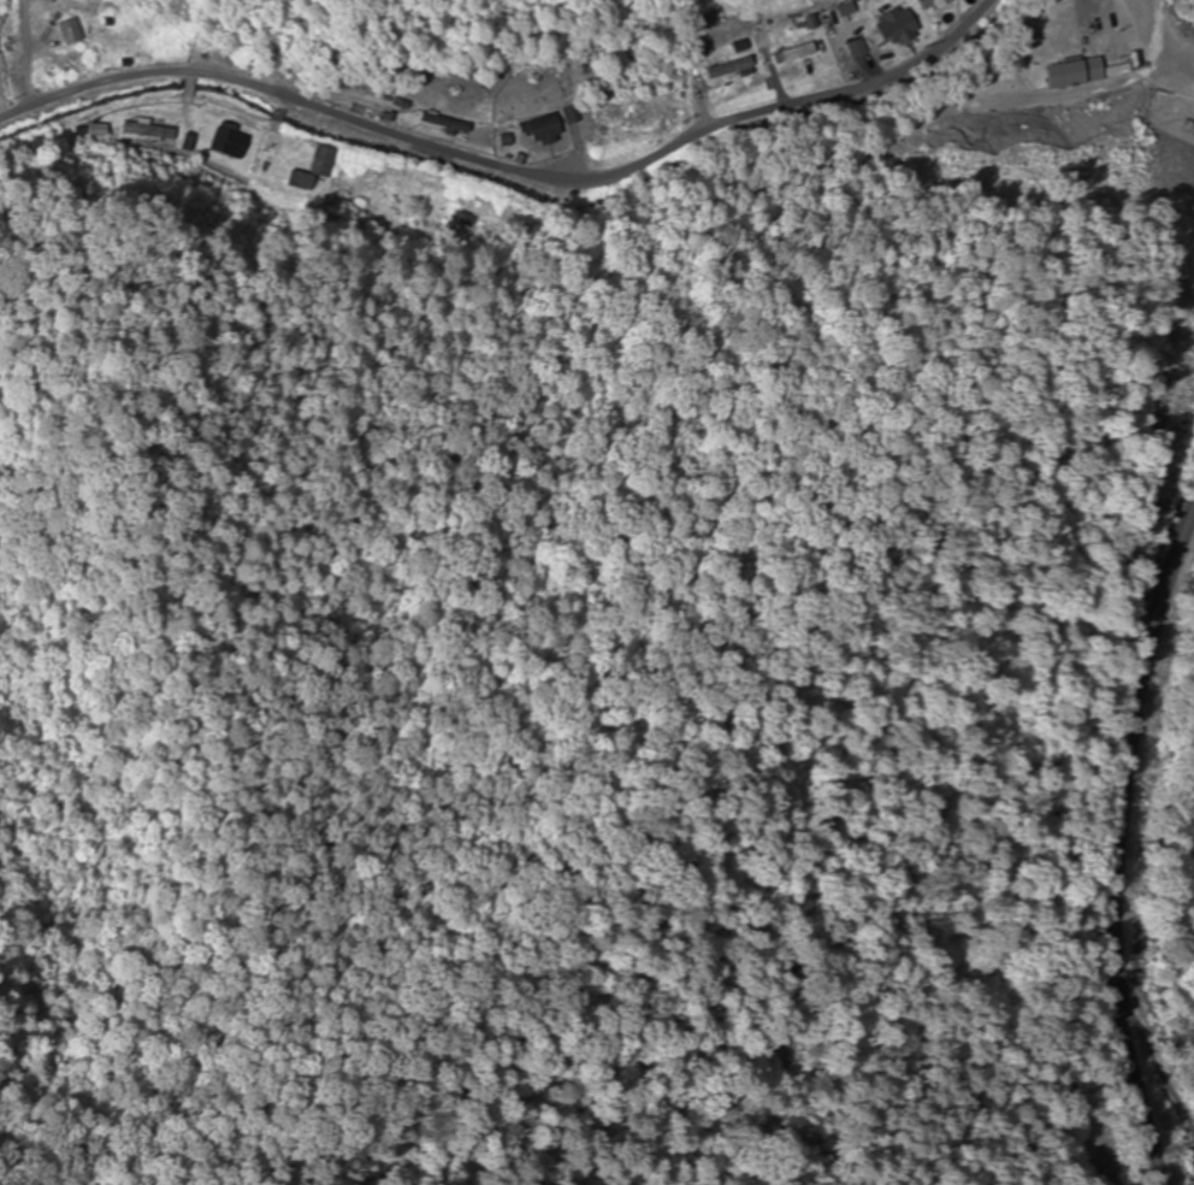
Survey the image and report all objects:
building: (893, 2)
building: (941, 4)
building: (899, 28)
building: (70, 33)
building: (732, 69)
building: (1076, 73)
building: (447, 123)
building: (543, 129)
road: (137, 134)
building: (229, 141)
road: (459, 160)
building: (324, 161)
building: (301, 181)
road: (1116, 845)

